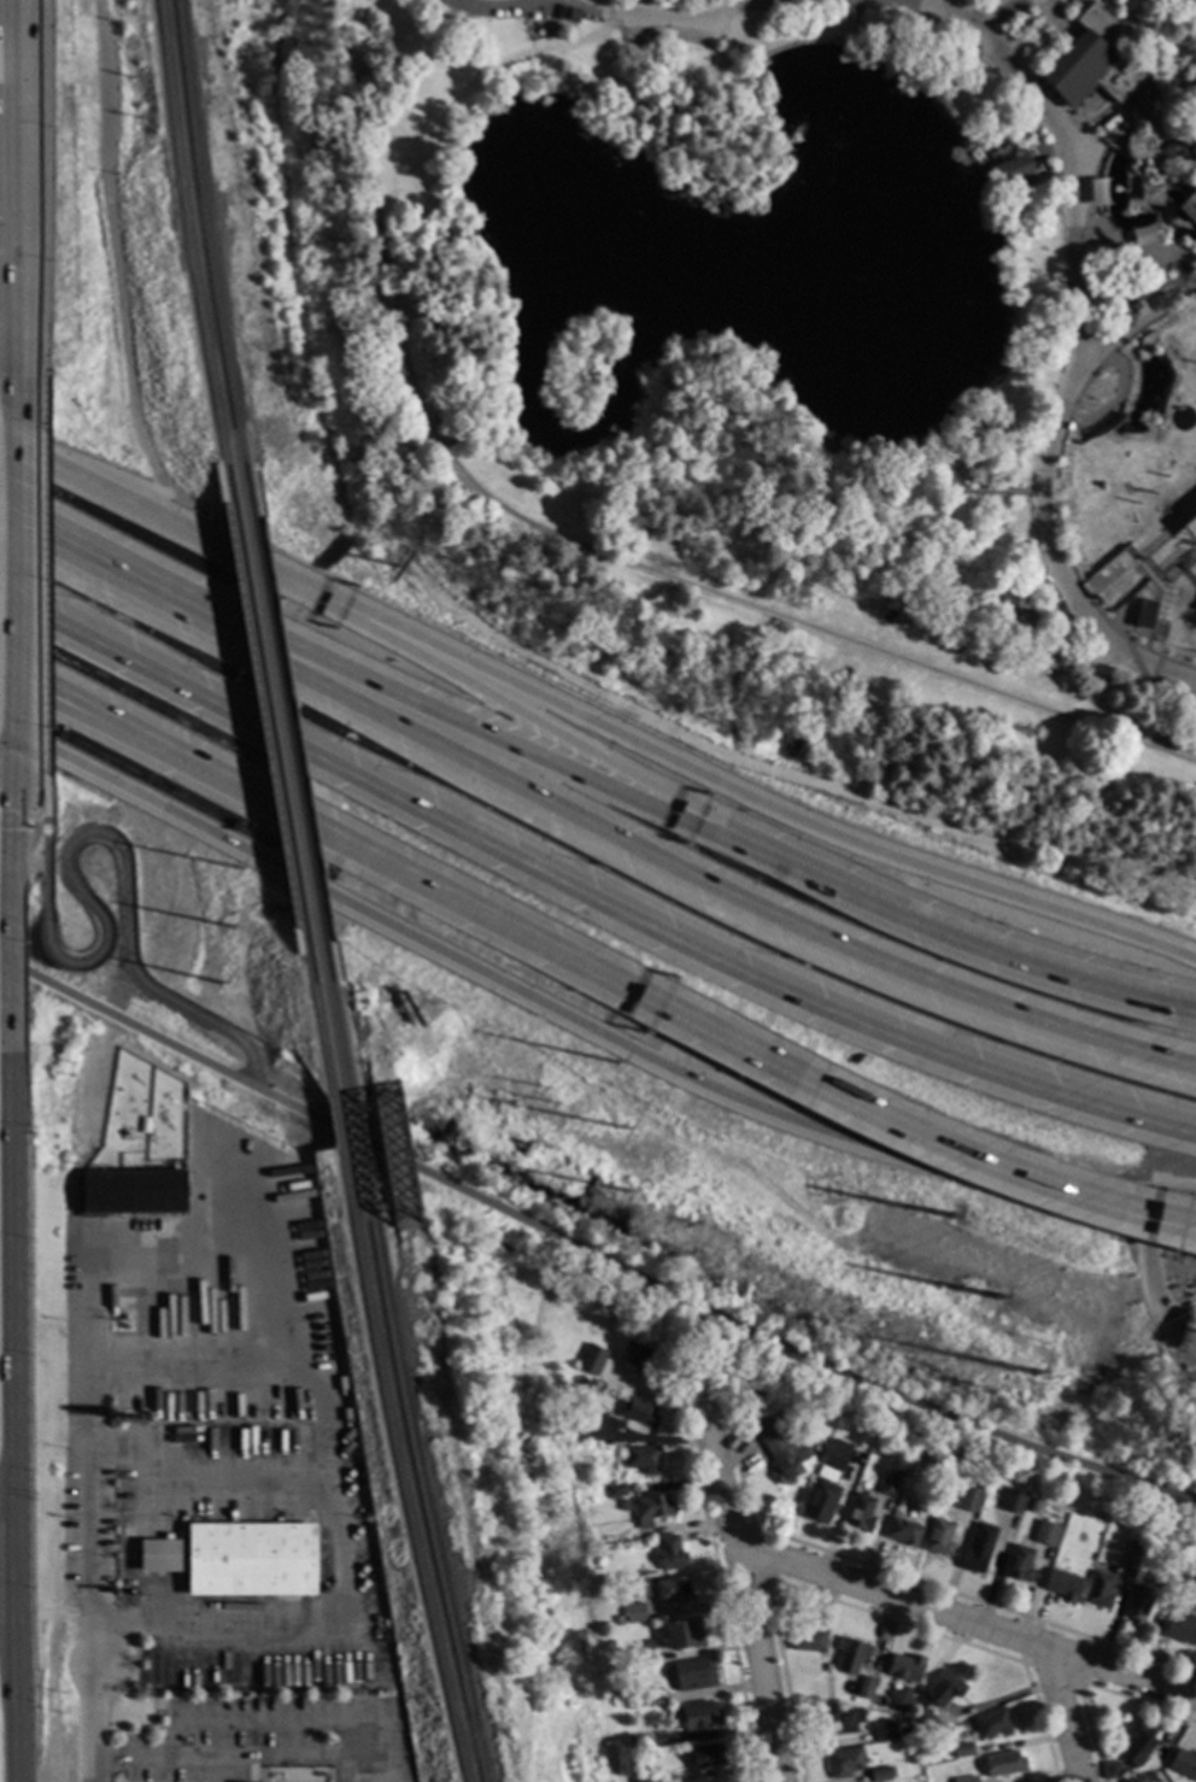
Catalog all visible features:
building: (567, 14)
road: (998, 14)
road: (680, 20)
road: (792, 40)
road: (520, 57)
building: (1090, 61)
road: (17, 106)
building: (1107, 123)
road: (1155, 127)
road: (1054, 151)
building: (1161, 163)
building: (1013, 172)
road: (47, 189)
building: (1097, 193)
building: (1143, 234)
road: (17, 246)
railway: (194, 248)
road: (1126, 248)
railway: (215, 256)
road: (1184, 277)
road: (1137, 327)
road: (1081, 339)
road: (16, 340)
road: (981, 491)
road: (175, 528)
building: (1190, 528)
railway: (588, 549)
road: (115, 569)
road: (42, 575)
road: (16, 576)
building: (1145, 616)
building: (1014, 625)
road: (1087, 663)
road: (54, 692)
road: (53, 704)
building: (1188, 709)
road: (544, 726)
railway: (271, 727)
railway: (288, 731)
road: (485, 733)
traffic signals: (16, 751)
road: (7, 756)
road: (43, 796)
road: (764, 804)
road: (22, 817)
road: (12, 820)
road: (87, 833)
road: (27, 861)
power tower: (241, 873)
road: (698, 881)
road: (585, 897)
road: (461, 902)
power tower: (248, 914)
road: (962, 938)
road: (8, 960)
power tower: (236, 972)
road: (575, 1027)
railway: (322, 1028)
railway: (338, 1030)
power tower: (614, 1065)
railway: (338, 1126)
power tower: (622, 1126)
railway: (356, 1136)
railway: (388, 1145)
road: (987, 1160)
building: (129, 1192)
power tower: (623, 1192)
power tower: (957, 1221)
road: (1183, 1223)
road: (1183, 1225)
road: (587, 1253)
road: (11, 1258)
power tower: (1001, 1297)
road: (1161, 1301)
railway: (1154, 1326)
road: (90, 1348)
road: (691, 1354)
building: (637, 1359)
building: (592, 1360)
building: (578, 1384)
power tower: (1048, 1388)
building: (638, 1412)
building: (869, 1424)
building: (592, 1428)
building: (781, 1447)
building: (837, 1455)
building: (641, 1459)
railway: (397, 1467)
railway: (415, 1472)
building: (897, 1472)
building: (827, 1476)
road: (6, 1484)
building: (887, 1488)
building: (616, 1490)
building: (969, 1500)
building: (820, 1501)
building: (1013, 1501)
building: (622, 1505)
building: (1034, 1505)
building: (652, 1510)
building: (861, 1513)
building: (903, 1532)
building: (1045, 1534)
building: (939, 1538)
building: (979, 1548)
building: (670, 1554)
building: (159, 1557)
road: (338, 1558)
building: (251, 1560)
building: (1130, 1560)
building: (1019, 1564)
building: (1168, 1577)
building: (1062, 1585)
road: (747, 1589)
building: (675, 1590)
building: (1100, 1590)
building: (1138, 1605)
building: (635, 1613)
building: (618, 1620)
road: (969, 1620)
building: (1180, 1629)
road: (16, 1632)
building: (682, 1635)
building: (808, 1639)
building: (644, 1652)
building: (850, 1655)
building: (905, 1667)
building: (827, 1669)
building: (694, 1675)
building: (867, 1688)
building: (944, 1689)
building: (621, 1696)
building: (637, 1698)
building: (901, 1698)
road: (1066, 1714)
building: (699, 1716)
building: (839, 1722)
building: (924, 1722)
building: (993, 1724)
road: (99, 1725)
building: (884, 1731)
road: (169, 1740)
building: (638, 1742)
building: (1139, 1745)
building: (962, 1749)
building: (709, 1755)
road: (357, 1759)
building: (845, 1762)
building: (1003, 1764)
building: (1183, 1764)
building: (1114, 1770)
building: (881, 1775)
building: (645, 1776)
building: (1136, 1778)
building: (628, 1780)
building: (967, 1780)

